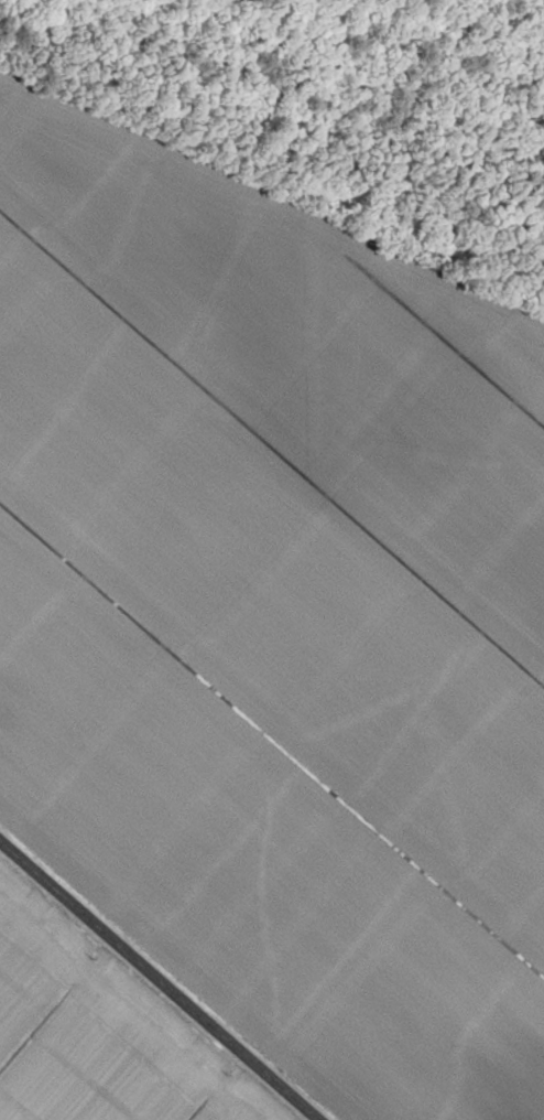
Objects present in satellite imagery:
road: (157, 981)
road: (255, 1101)

